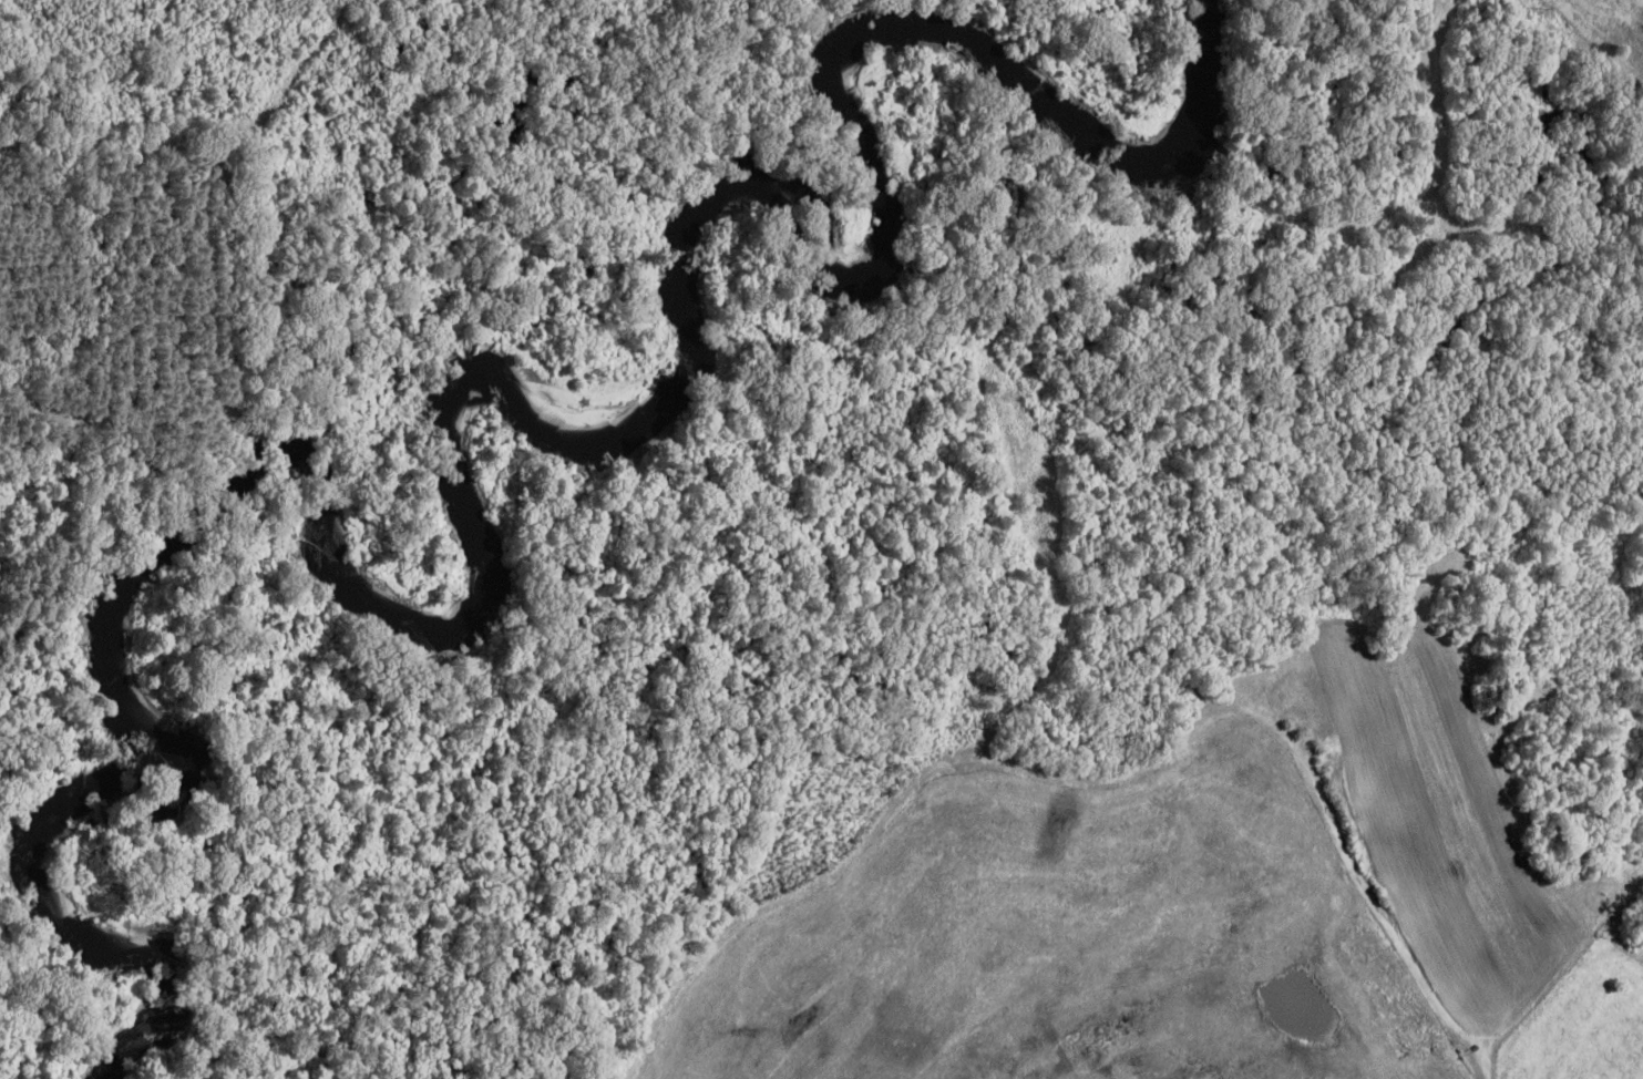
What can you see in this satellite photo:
river: (587, 435)

